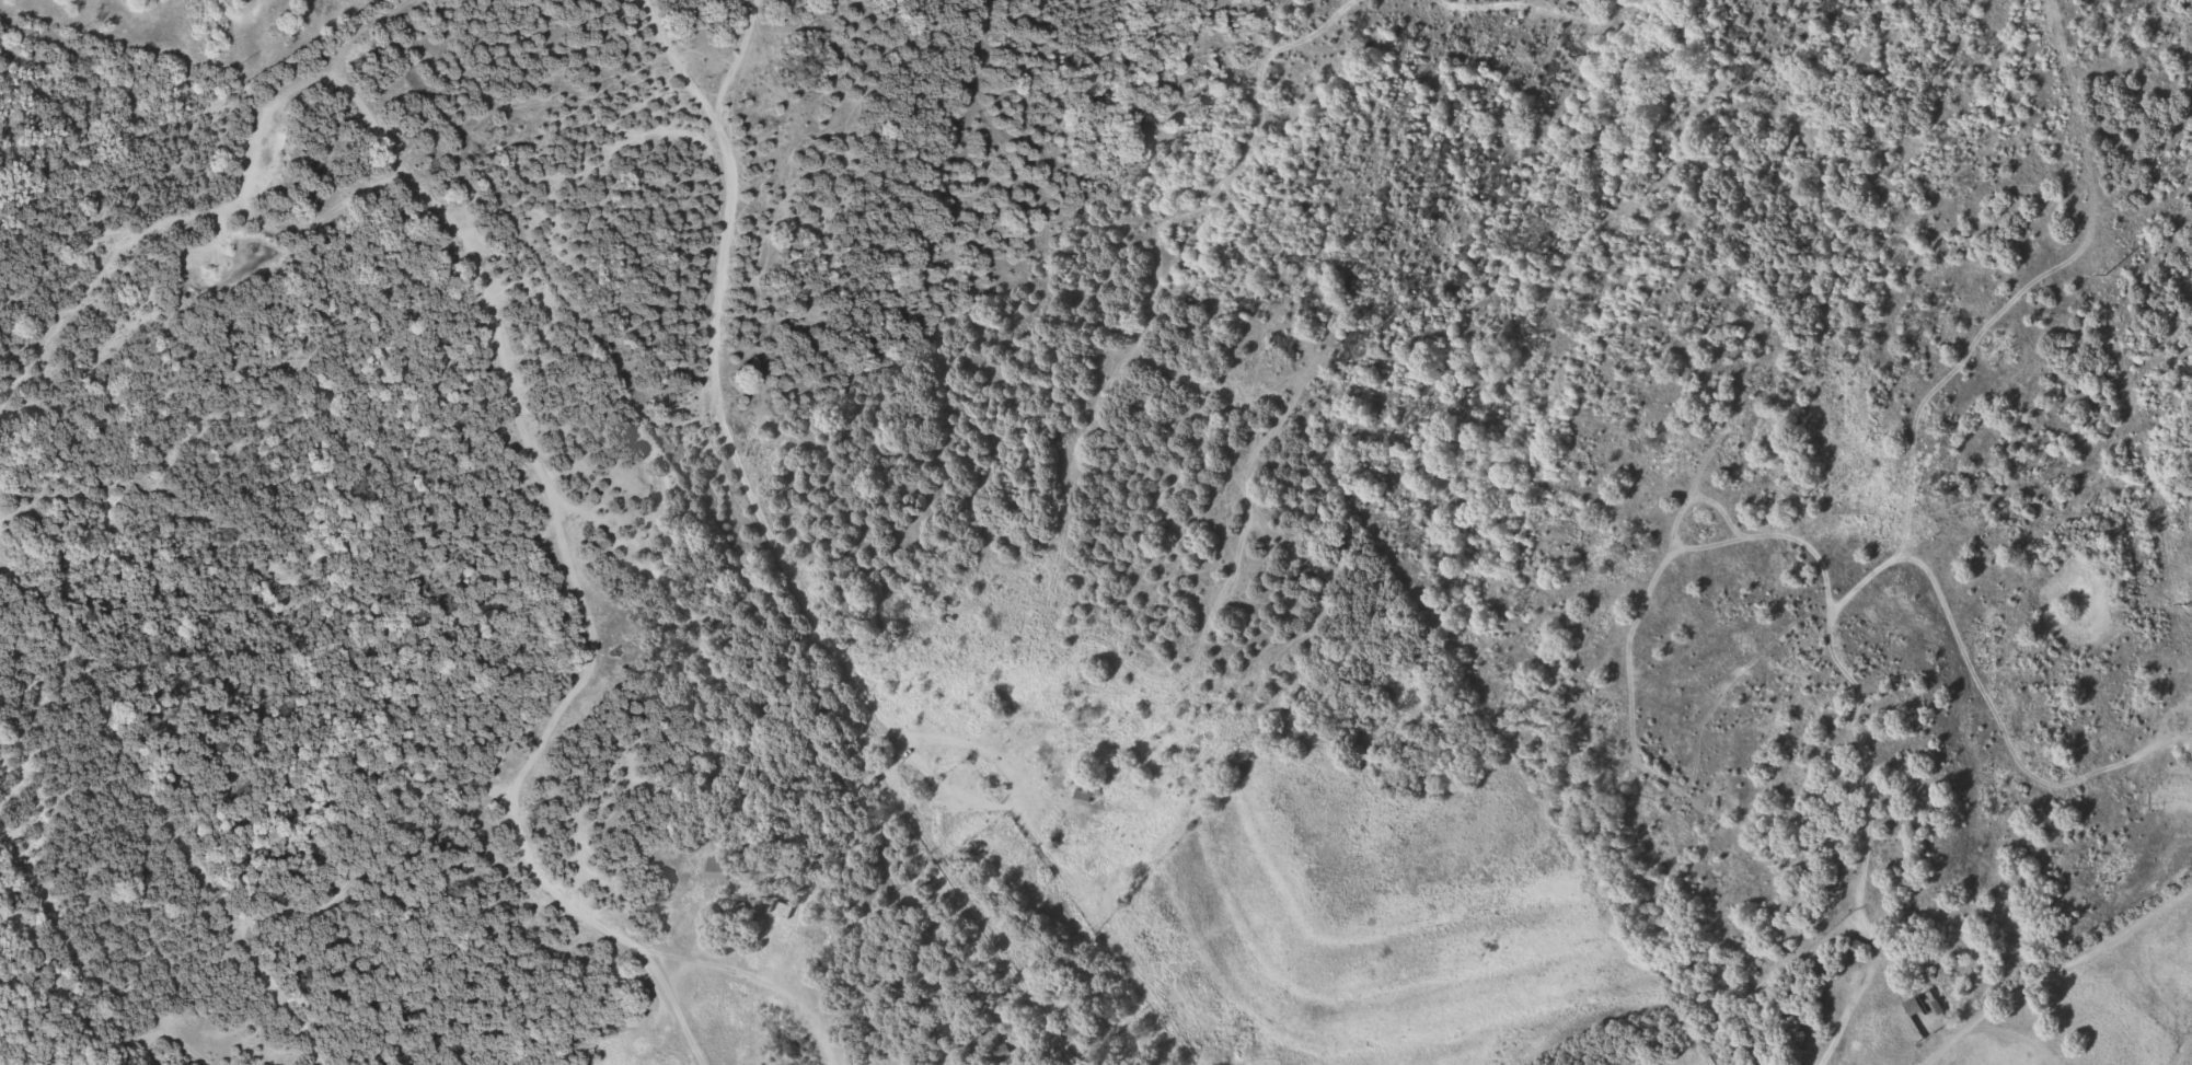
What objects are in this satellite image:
road: (738, 61)
road: (217, 211)
road: (154, 772)
road: (861, 783)
building: (1087, 797)
road: (514, 798)
building: (718, 868)
road: (674, 971)
road: (755, 977)
road: (2051, 979)
building: (1928, 1015)
building: (1004, 1051)

